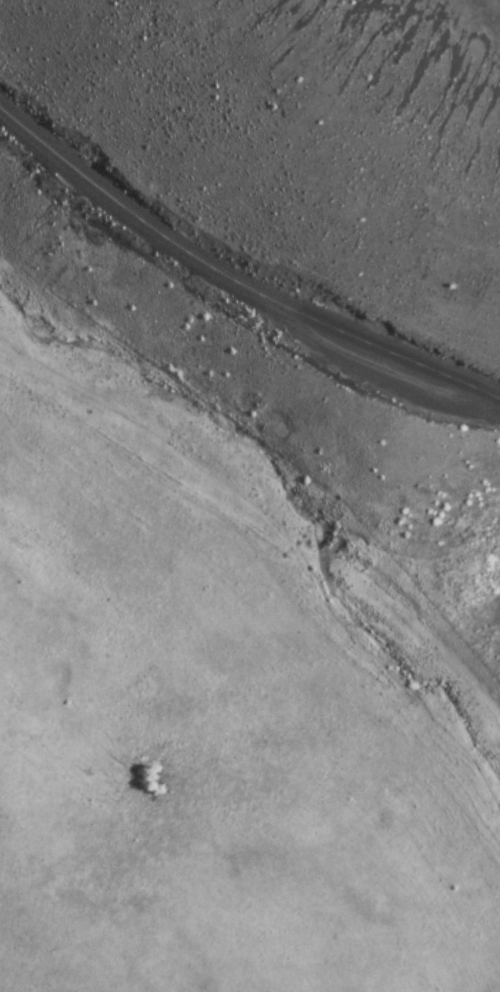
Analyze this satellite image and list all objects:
road: (244, 261)

